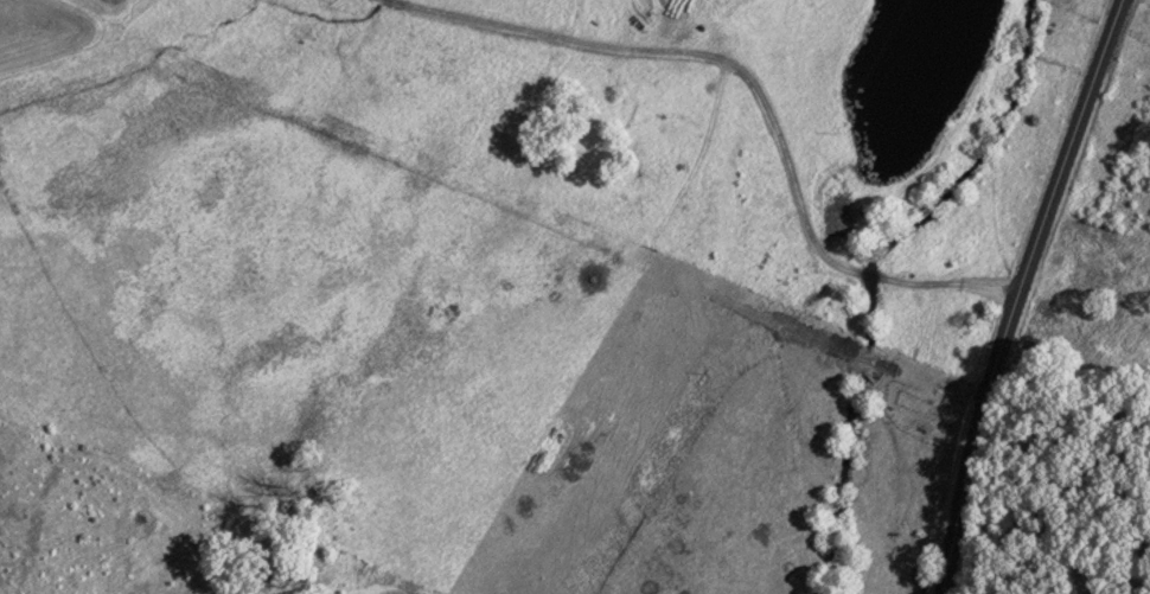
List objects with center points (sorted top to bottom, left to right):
road: (1027, 294)

